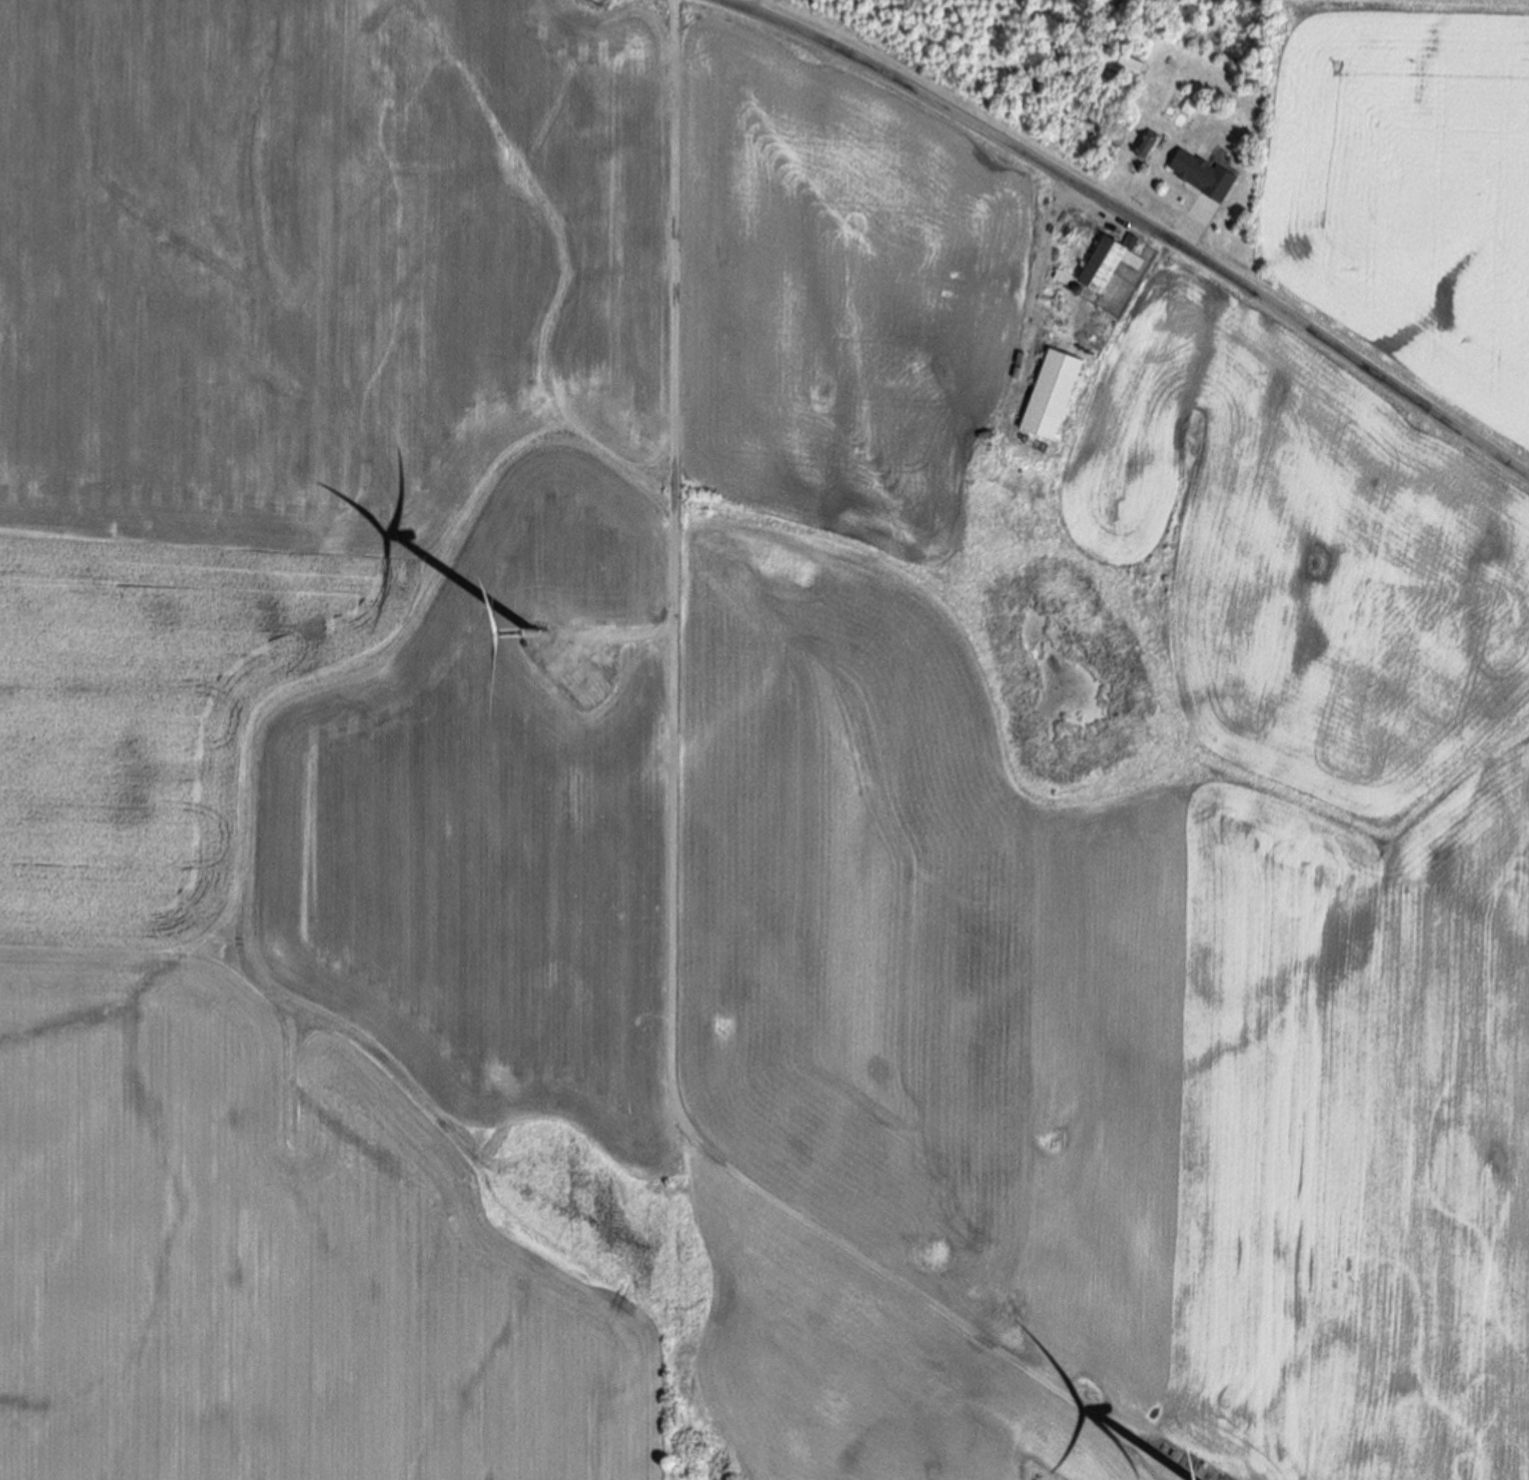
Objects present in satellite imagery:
building: (1118, 65)
building: (1201, 175)
road: (1136, 220)
road: (1195, 231)
building: (1105, 265)
road: (1041, 295)
building: (1051, 396)
wind turbine: (530, 634)
road: (620, 639)
road: (674, 871)

